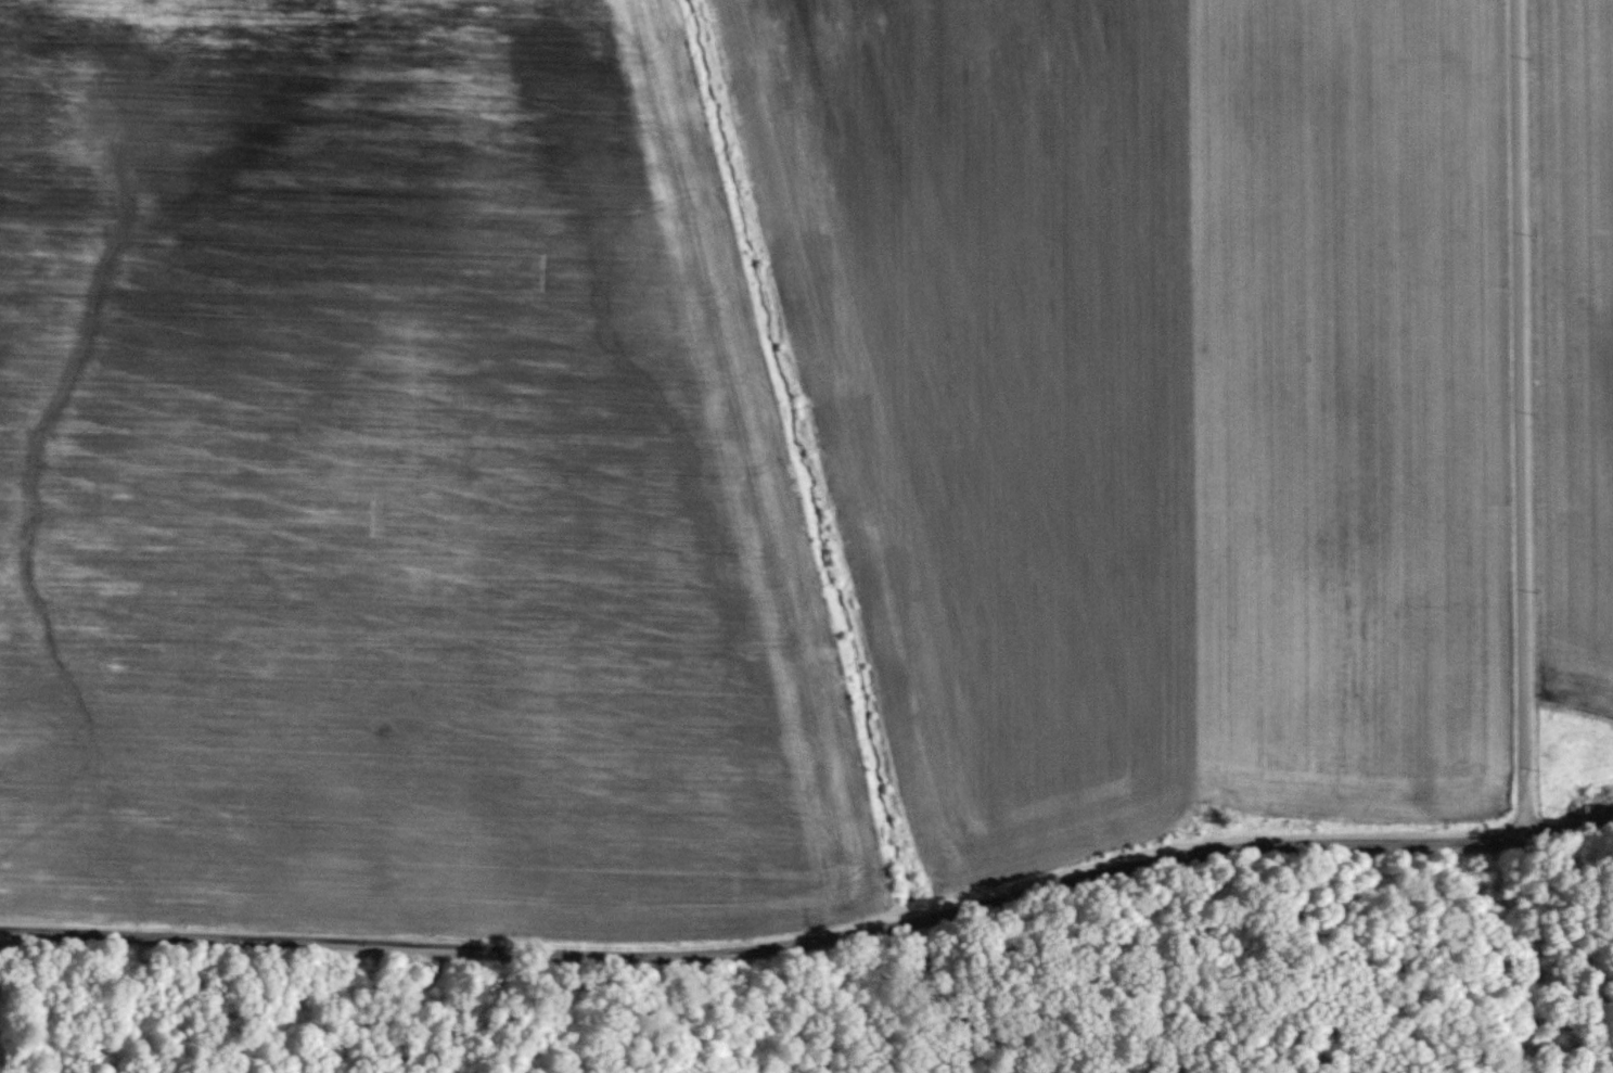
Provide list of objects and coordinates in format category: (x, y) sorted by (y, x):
road: (1519, 418)
road: (1567, 822)
road: (766, 946)

